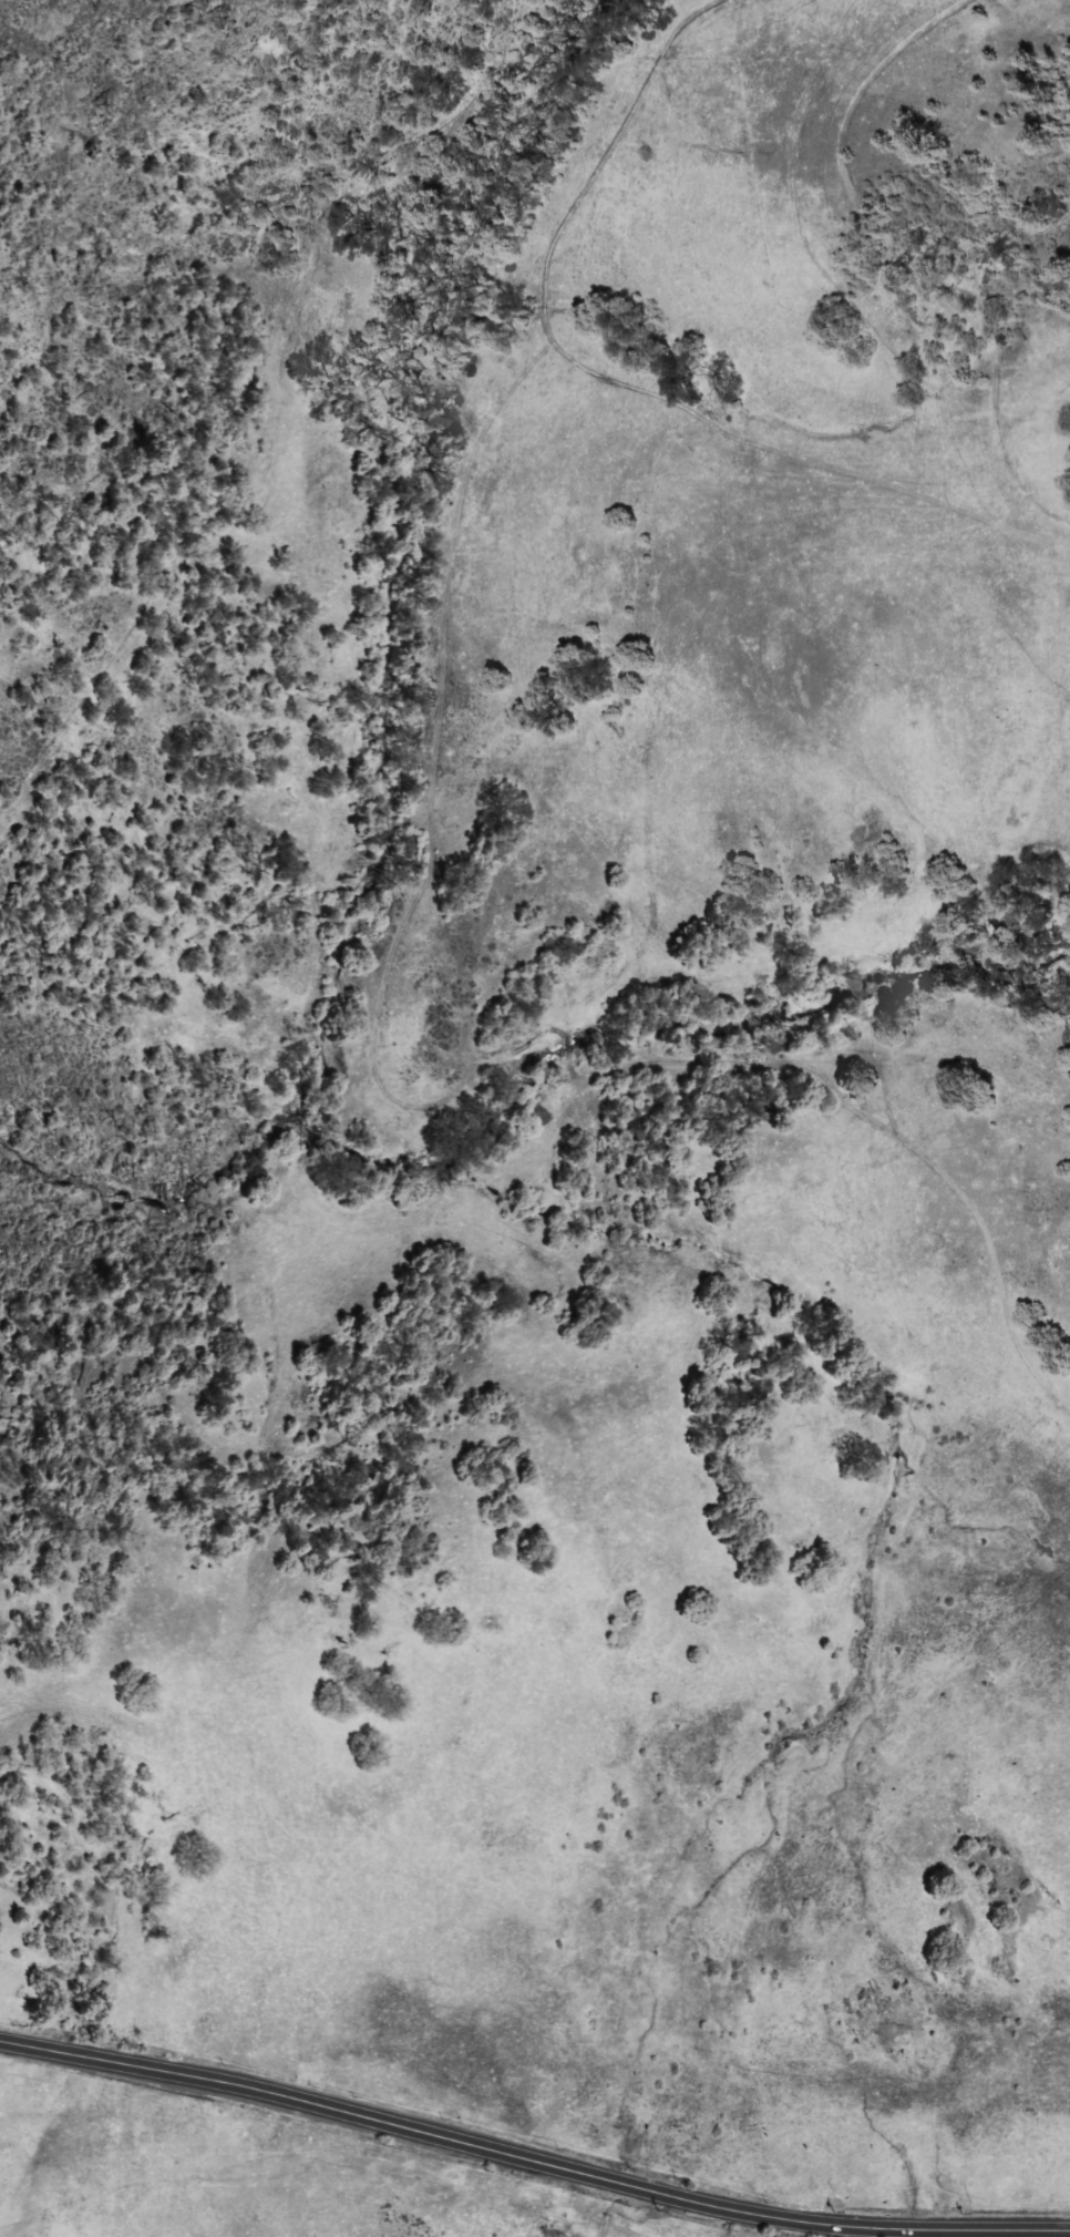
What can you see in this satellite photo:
road: (532, 2159)

